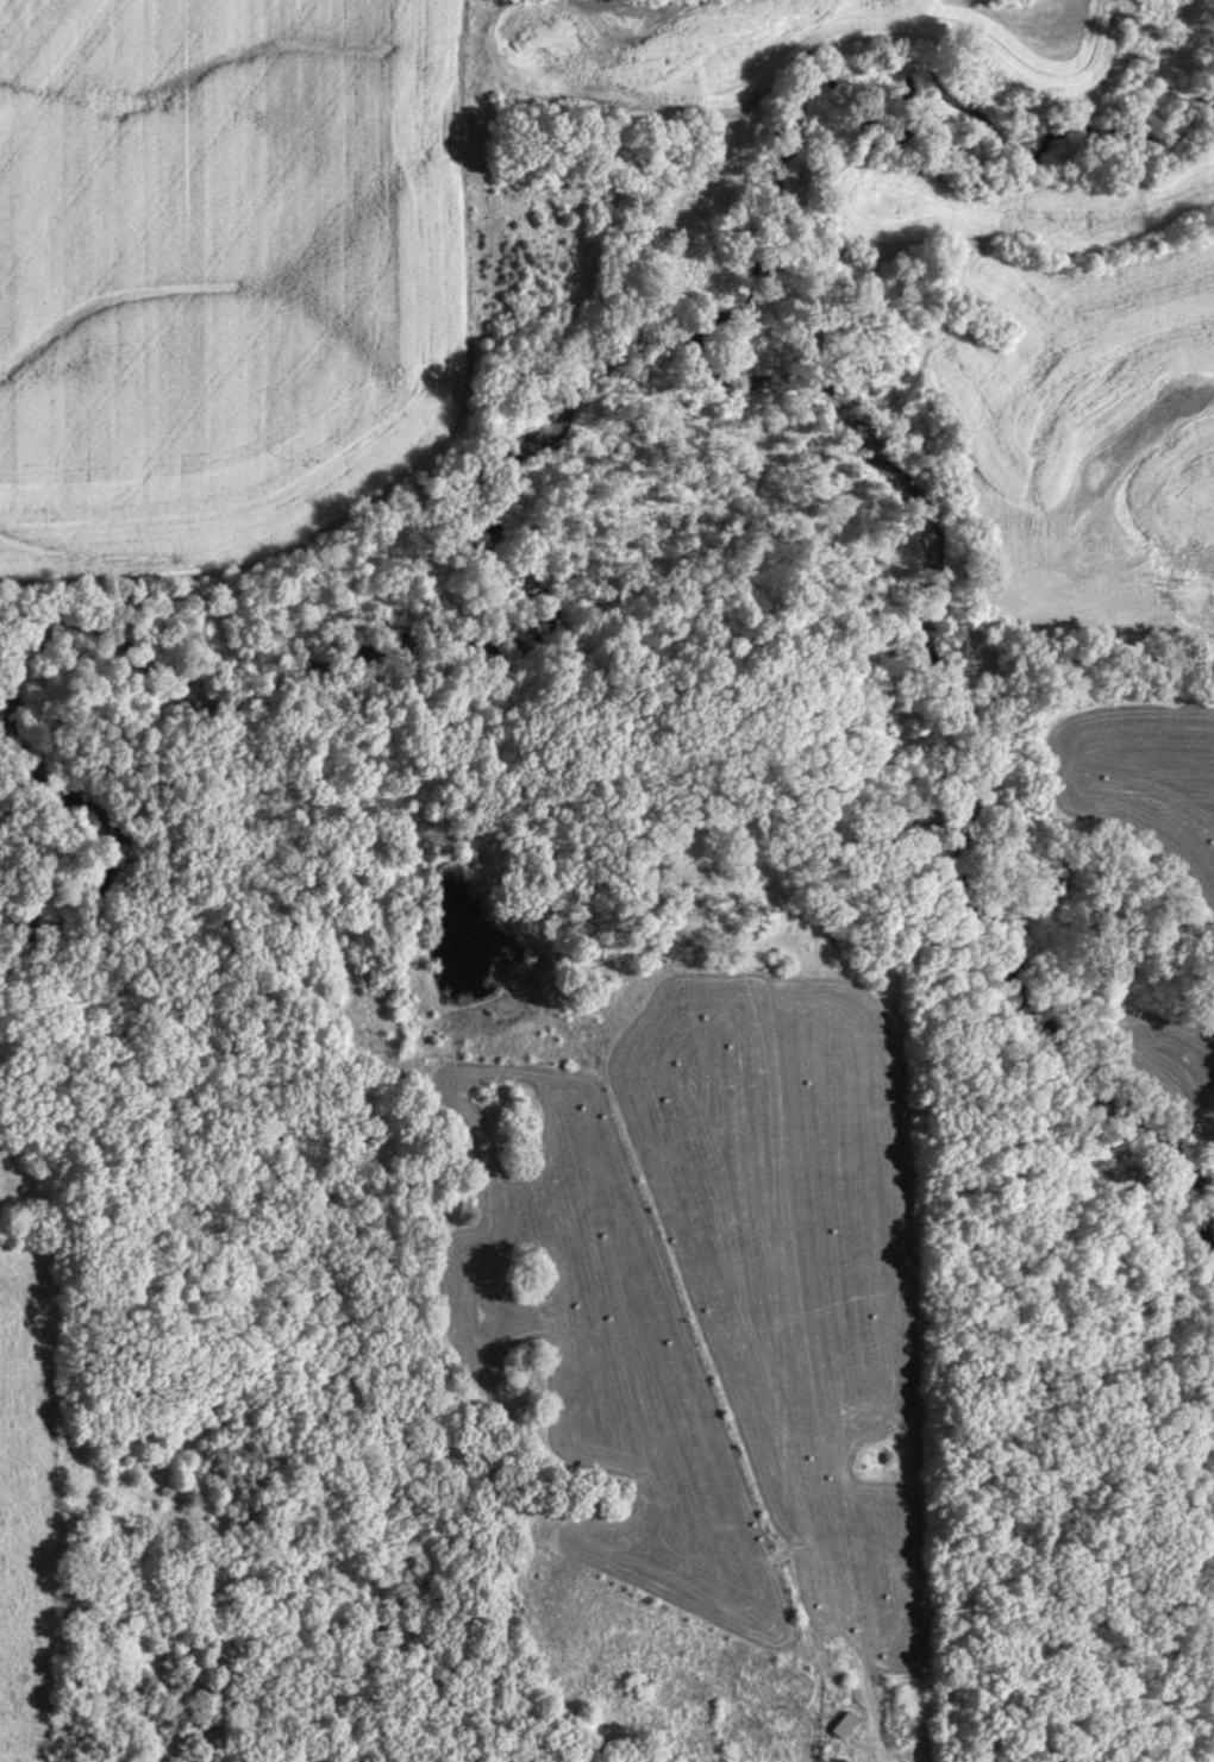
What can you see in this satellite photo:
building: (840, 1724)

